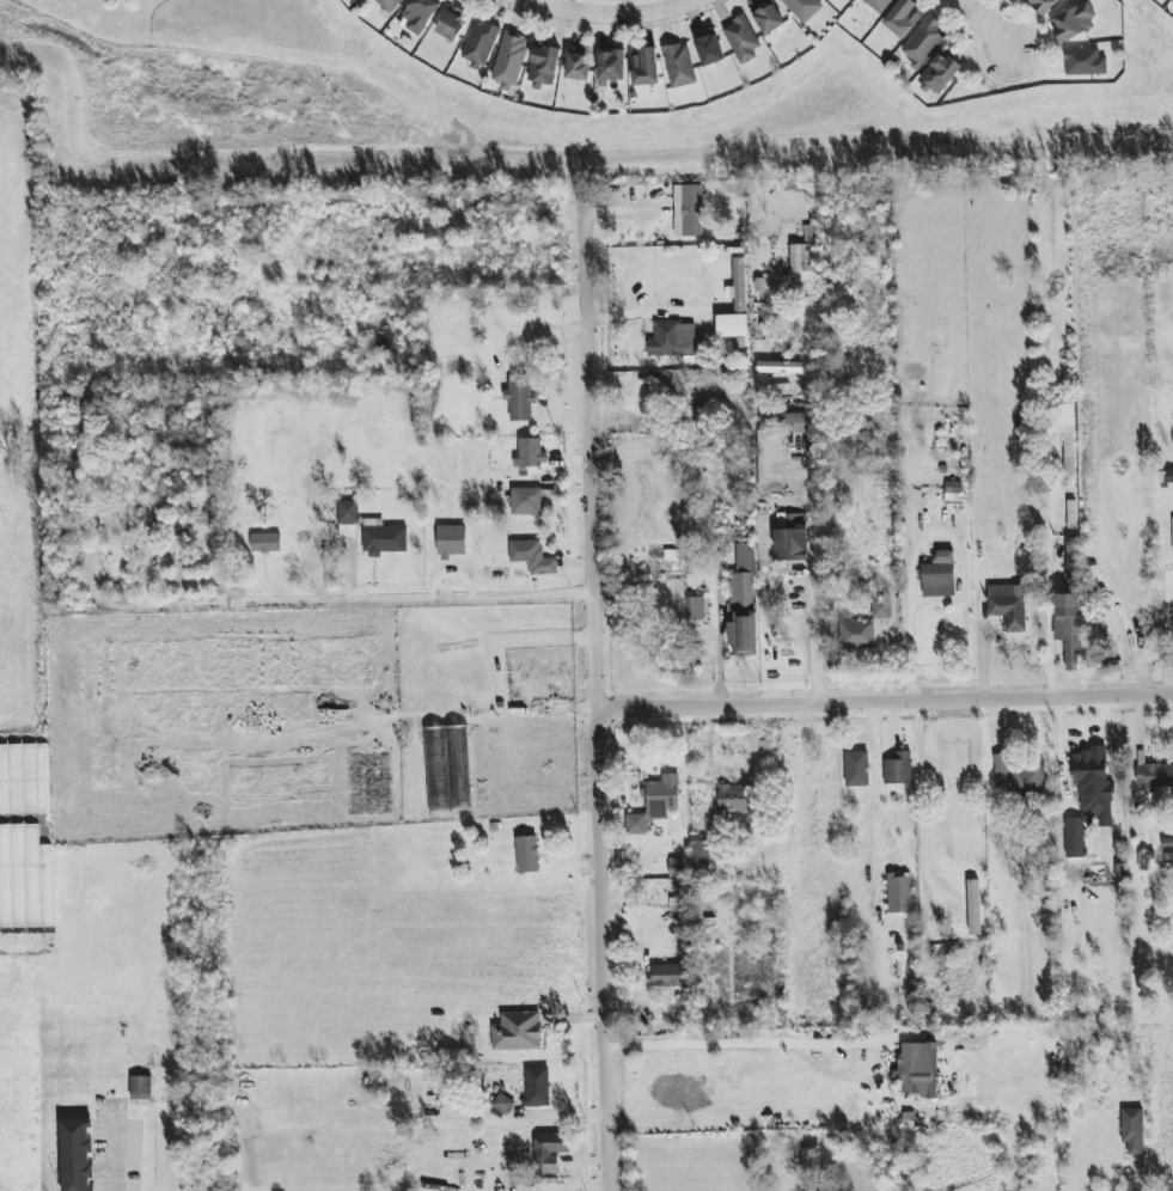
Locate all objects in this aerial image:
building: (1016, 0)
building: (1172, 0)
building: (390, 5)
building: (879, 5)
building: (1043, 5)
building: (802, 8)
building: (420, 13)
road: (610, 16)
building: (903, 18)
building: (769, 19)
building: (1074, 23)
building: (452, 24)
road: (991, 25)
building: (743, 38)
building: (481, 42)
building: (924, 42)
building: (710, 50)
building: (509, 60)
building: (1085, 62)
building: (578, 65)
building: (679, 65)
building: (611, 66)
building: (543, 67)
building: (644, 67)
building: (940, 73)
building: (692, 210)
building: (802, 276)
building: (723, 304)
building: (696, 309)
building: (673, 338)
building: (520, 399)
building: (786, 421)
building: (1065, 428)
building: (530, 452)
building: (770, 459)
building: (953, 490)
building: (526, 501)
road: (813, 514)
building: (348, 519)
building: (383, 538)
building: (793, 539)
building: (451, 542)
building: (265, 543)
building: (532, 557)
building: (1073, 561)
building: (940, 576)
road: (377, 600)
building: (744, 603)
building: (1008, 605)
building: (696, 607)
building: (881, 609)
building: (1068, 627)
building: (857, 633)
road: (910, 641)
road: (1167, 648)
road: (720, 652)
road: (1051, 662)
road: (597, 701)
road: (885, 708)
building: (457, 733)
building: (1089, 765)
building: (857, 769)
building: (898, 769)
road: (875, 770)
building: (1019, 774)
building: (1154, 775)
building: (735, 799)
road: (924, 802)
building: (655, 805)
building: (1074, 820)
building: (699, 850)
building: (527, 854)
building: (676, 866)
building: (19, 877)
building: (900, 893)
building: (975, 908)
building: (668, 976)
building: (518, 1032)
road: (741, 1042)
building: (917, 1070)
building: (537, 1087)
building: (141, 1088)
building: (502, 1104)
building: (1132, 1130)
building: (550, 1152)
road: (114, 1153)
road: (201, 1153)
building: (78, 1155)

